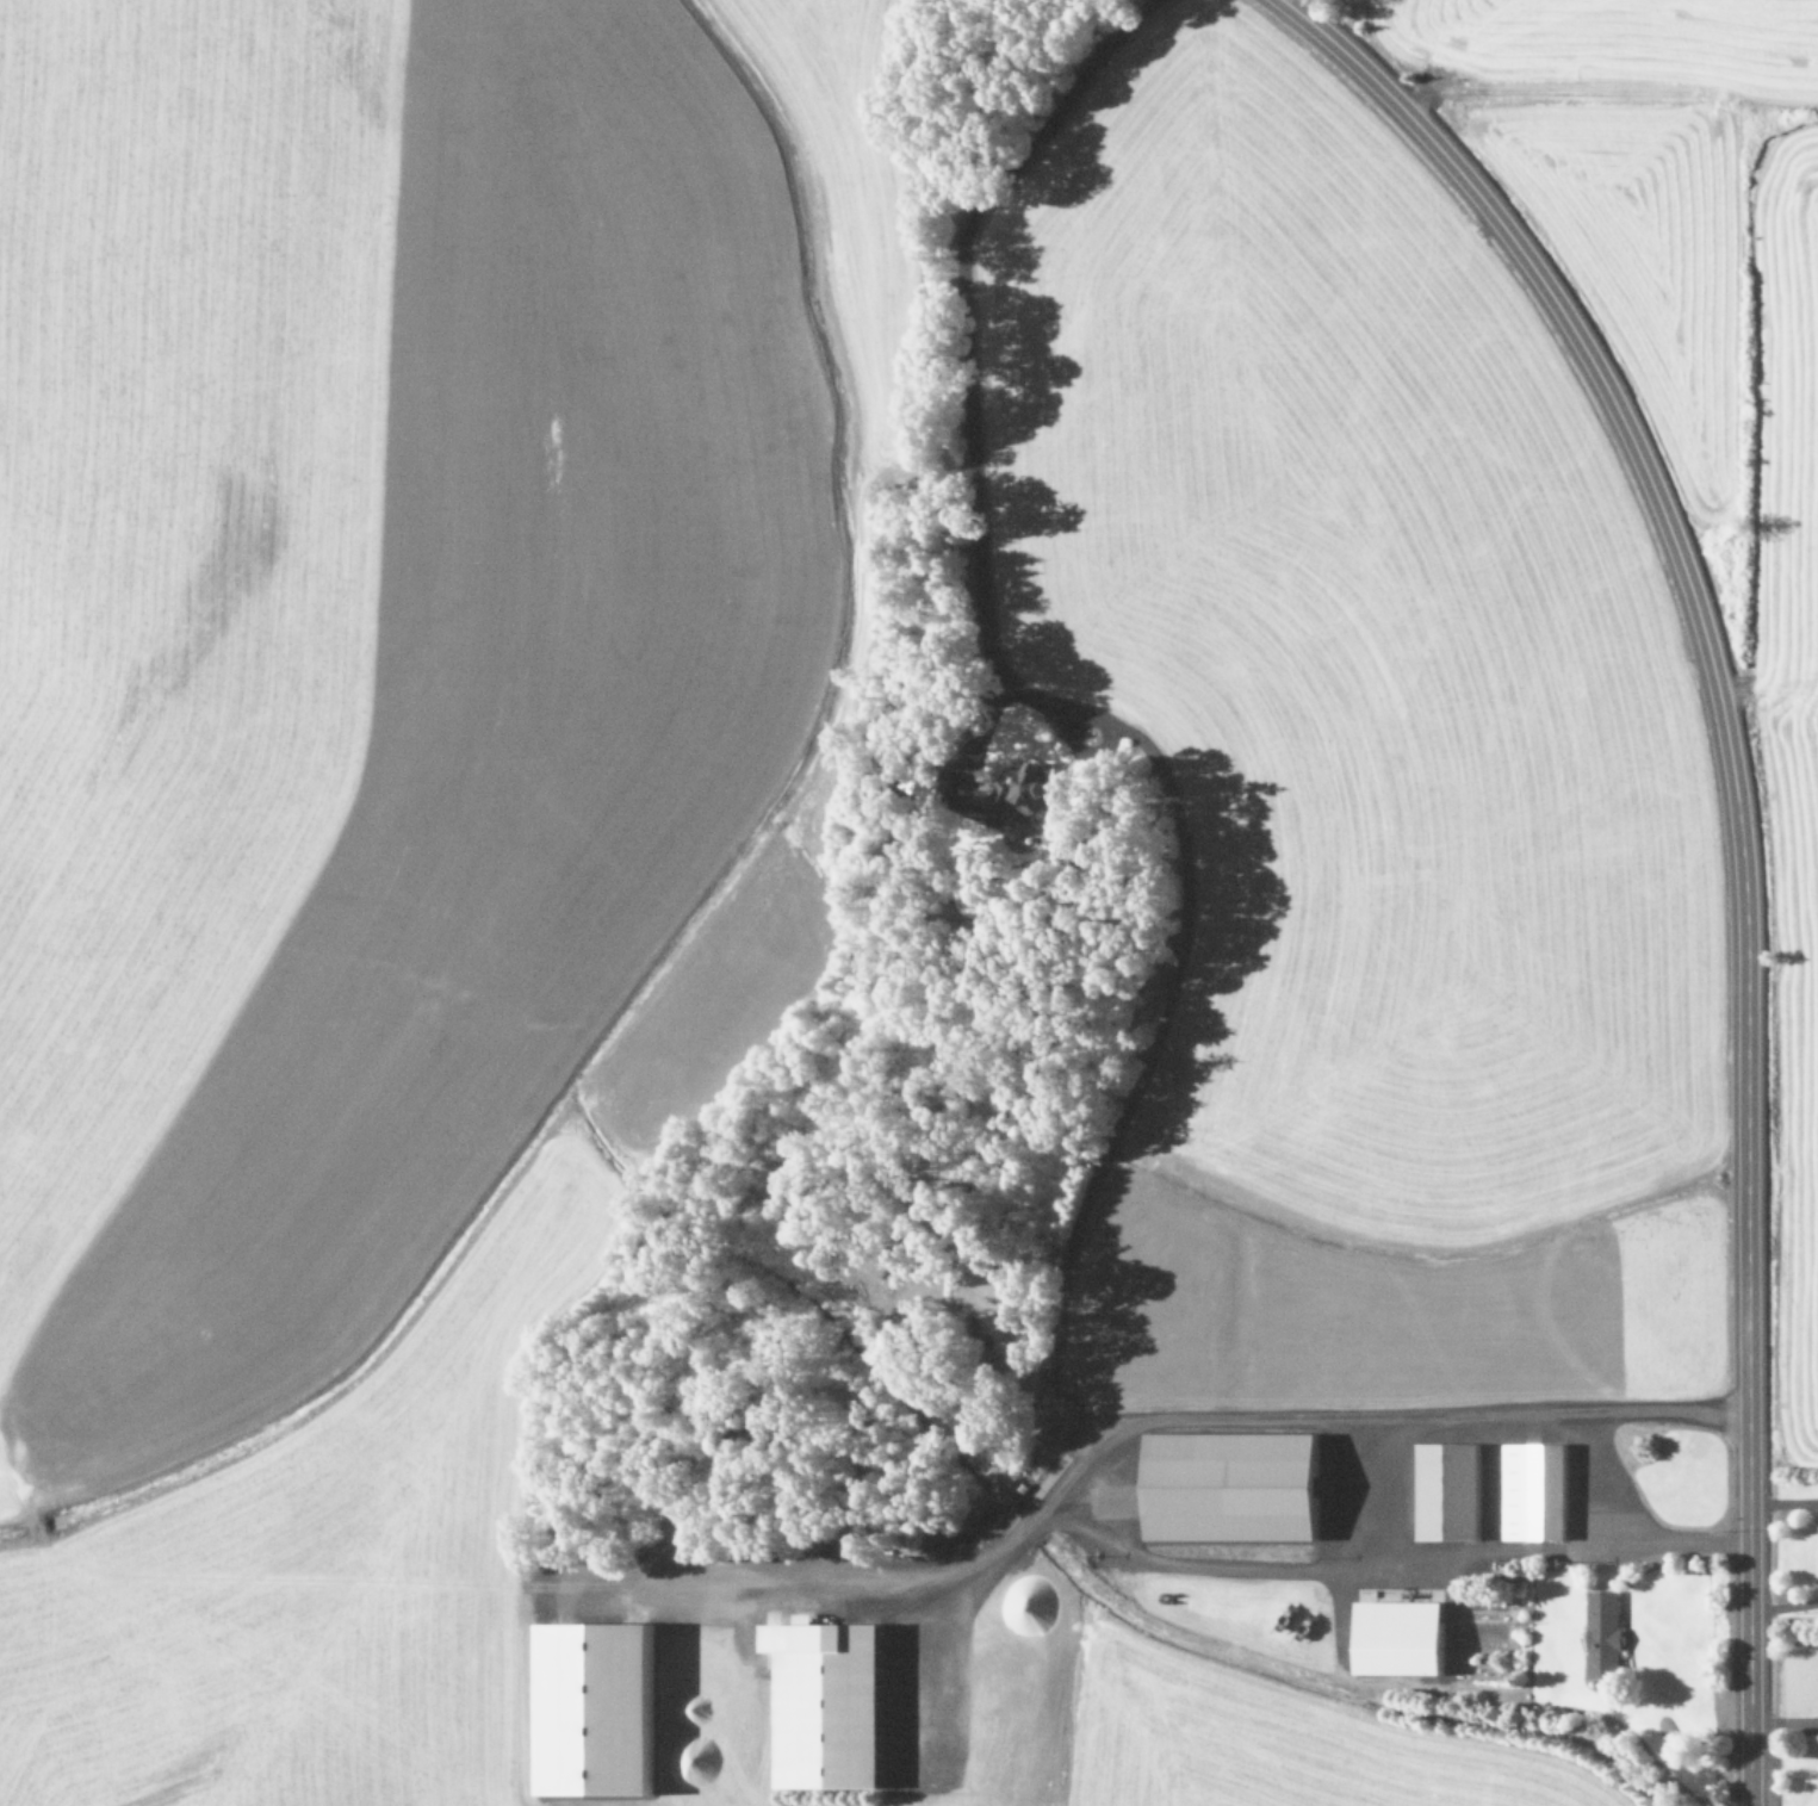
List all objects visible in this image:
crop: (1706, 433)
road: (1731, 831)
crop: (396, 920)
building: (1230, 1487)
building: (1447, 1491)
building: (1533, 1491)
building: (1602, 1634)
building: (1398, 1638)
building: (825, 1705)
building: (592, 1711)

